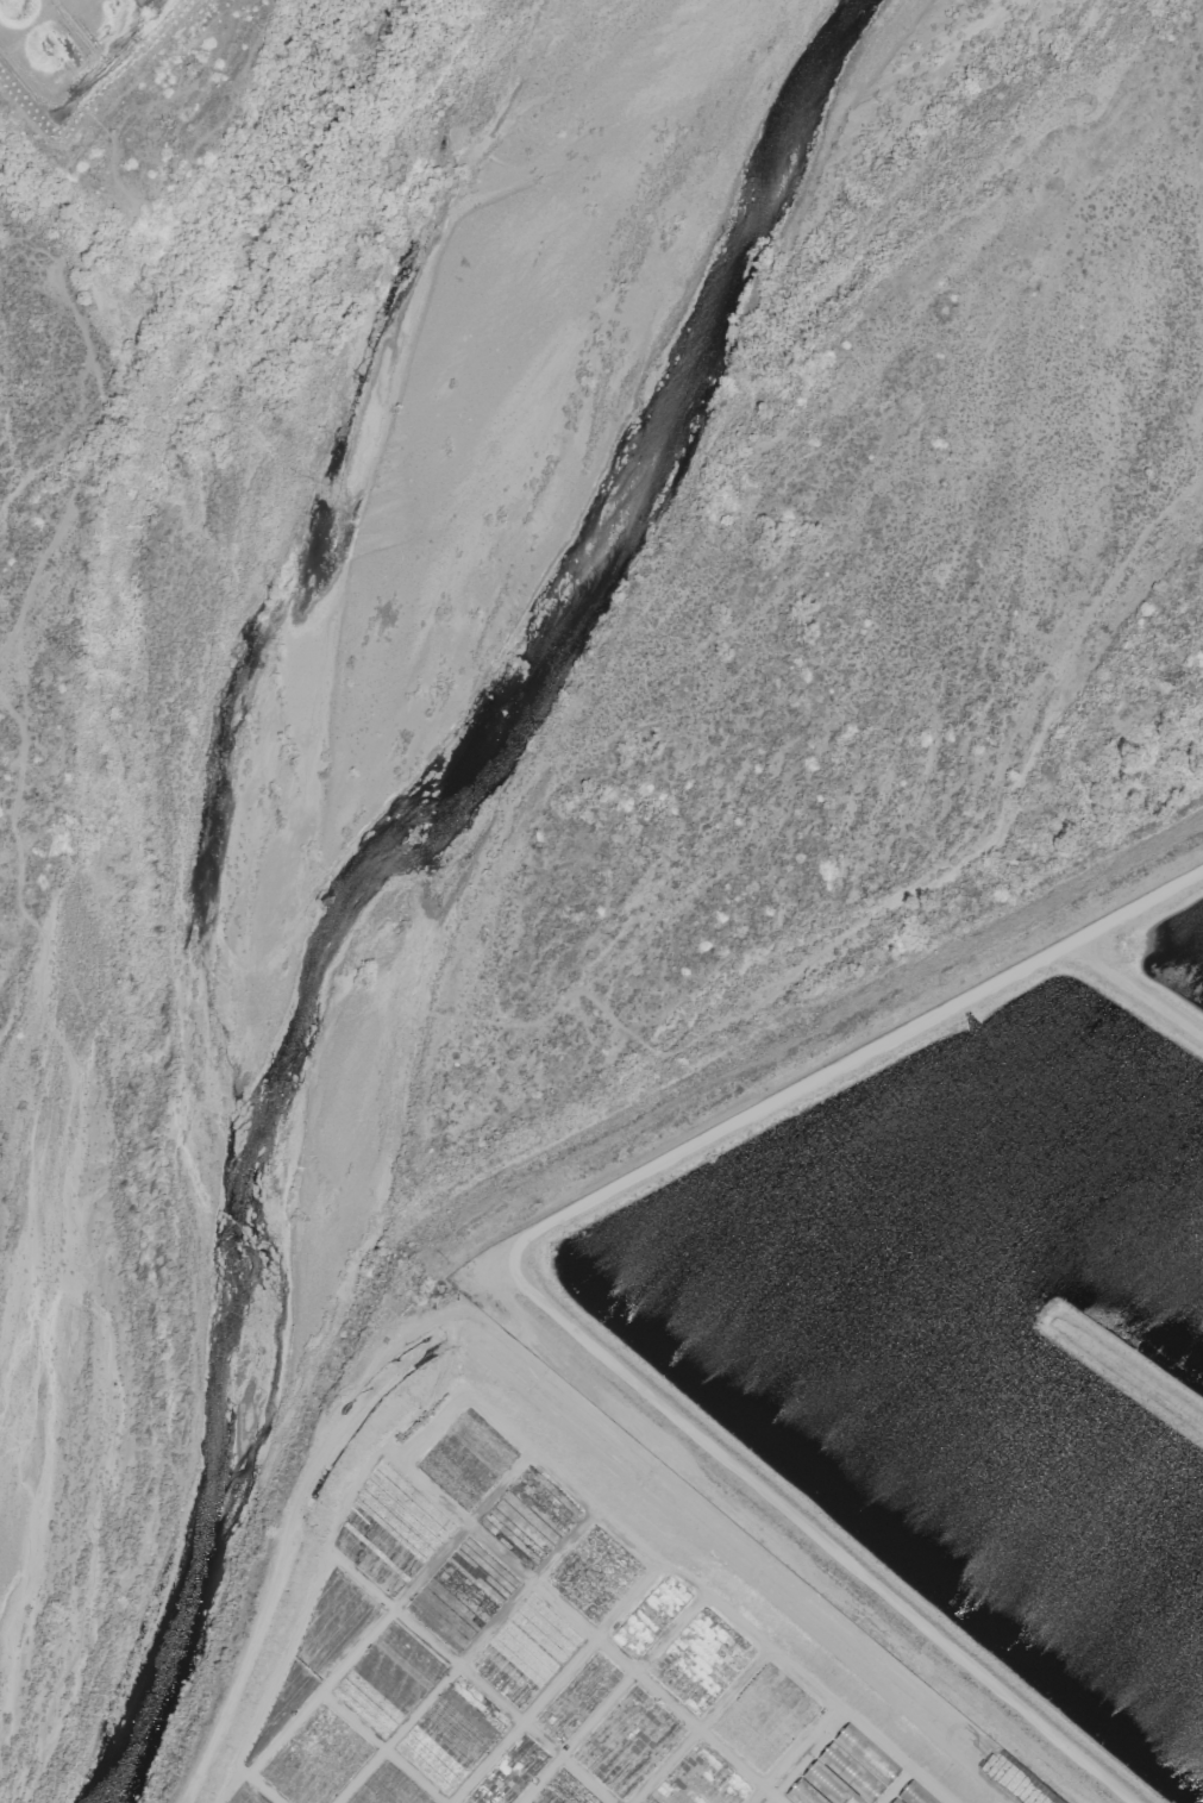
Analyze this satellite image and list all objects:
road: (489, 1373)
road: (703, 1720)
road: (743, 1764)
building: (828, 1784)
building: (803, 1792)
building: (915, 1793)
building: (895, 1801)

